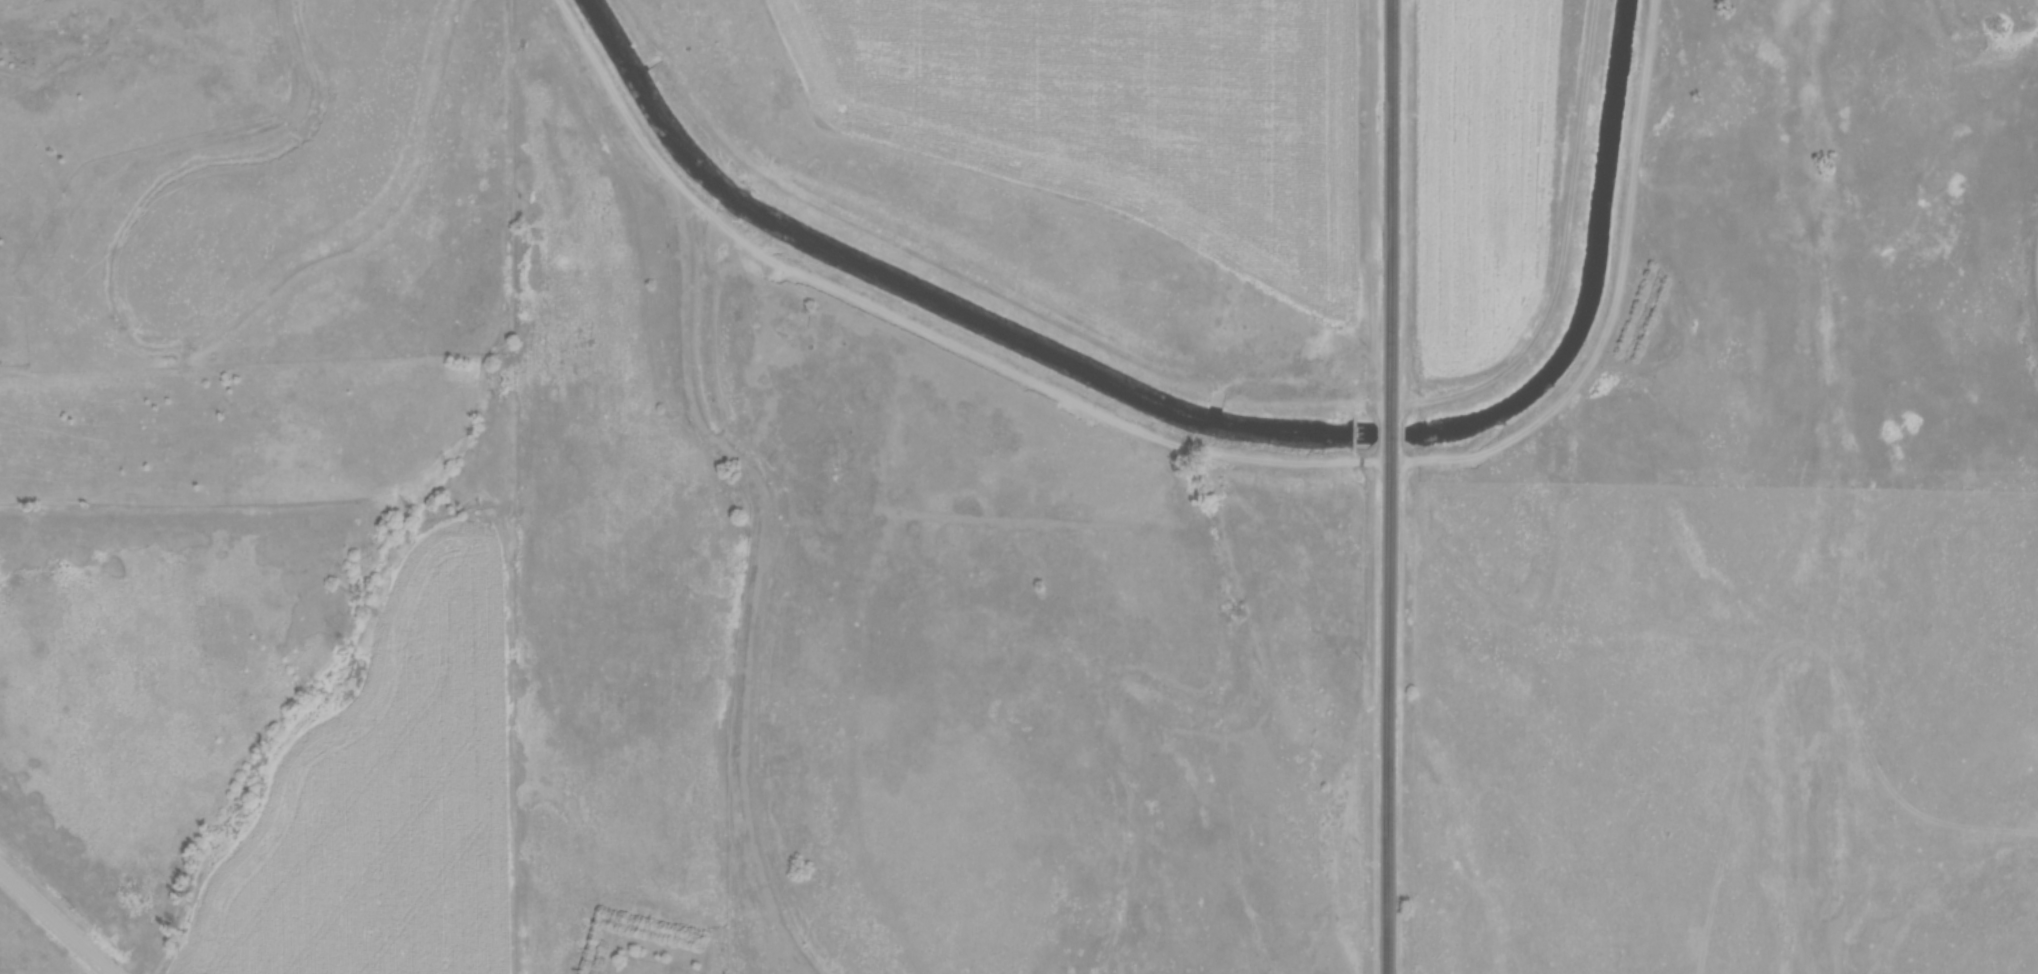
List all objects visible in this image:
crop: (1477, 173)
road: (1194, 449)
road: (1389, 487)
road: (59, 921)

